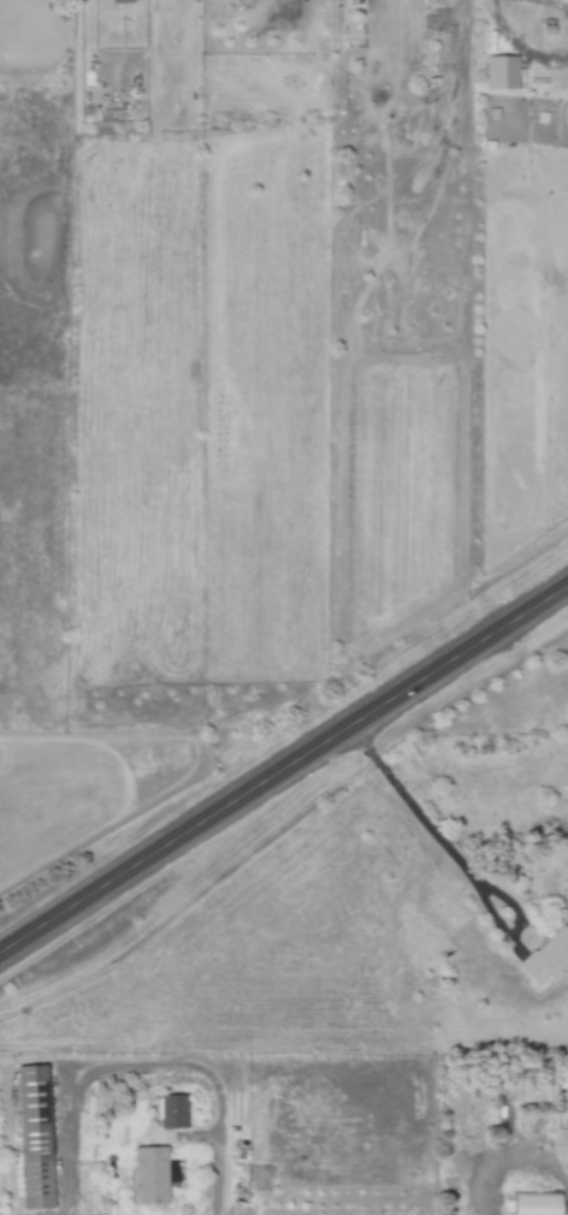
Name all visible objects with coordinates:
building: (118, 1)
road: (555, 5)
road: (519, 46)
building: (499, 72)
road: (283, 769)
road: (454, 857)
building: (546, 958)
road: (149, 1063)
building: (170, 1110)
building: (31, 1136)
road: (499, 1155)
building: (148, 1174)
building: (532, 1203)

